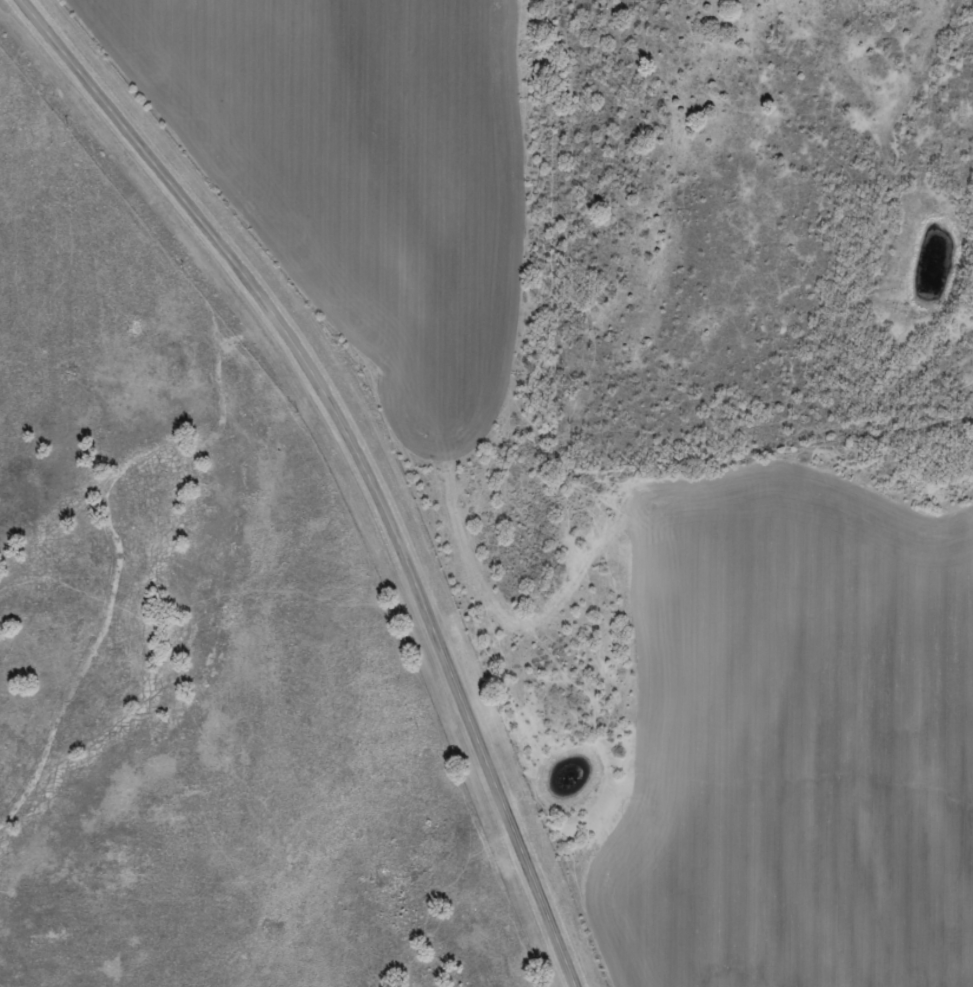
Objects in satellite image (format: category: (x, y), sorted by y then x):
road: (361, 459)

